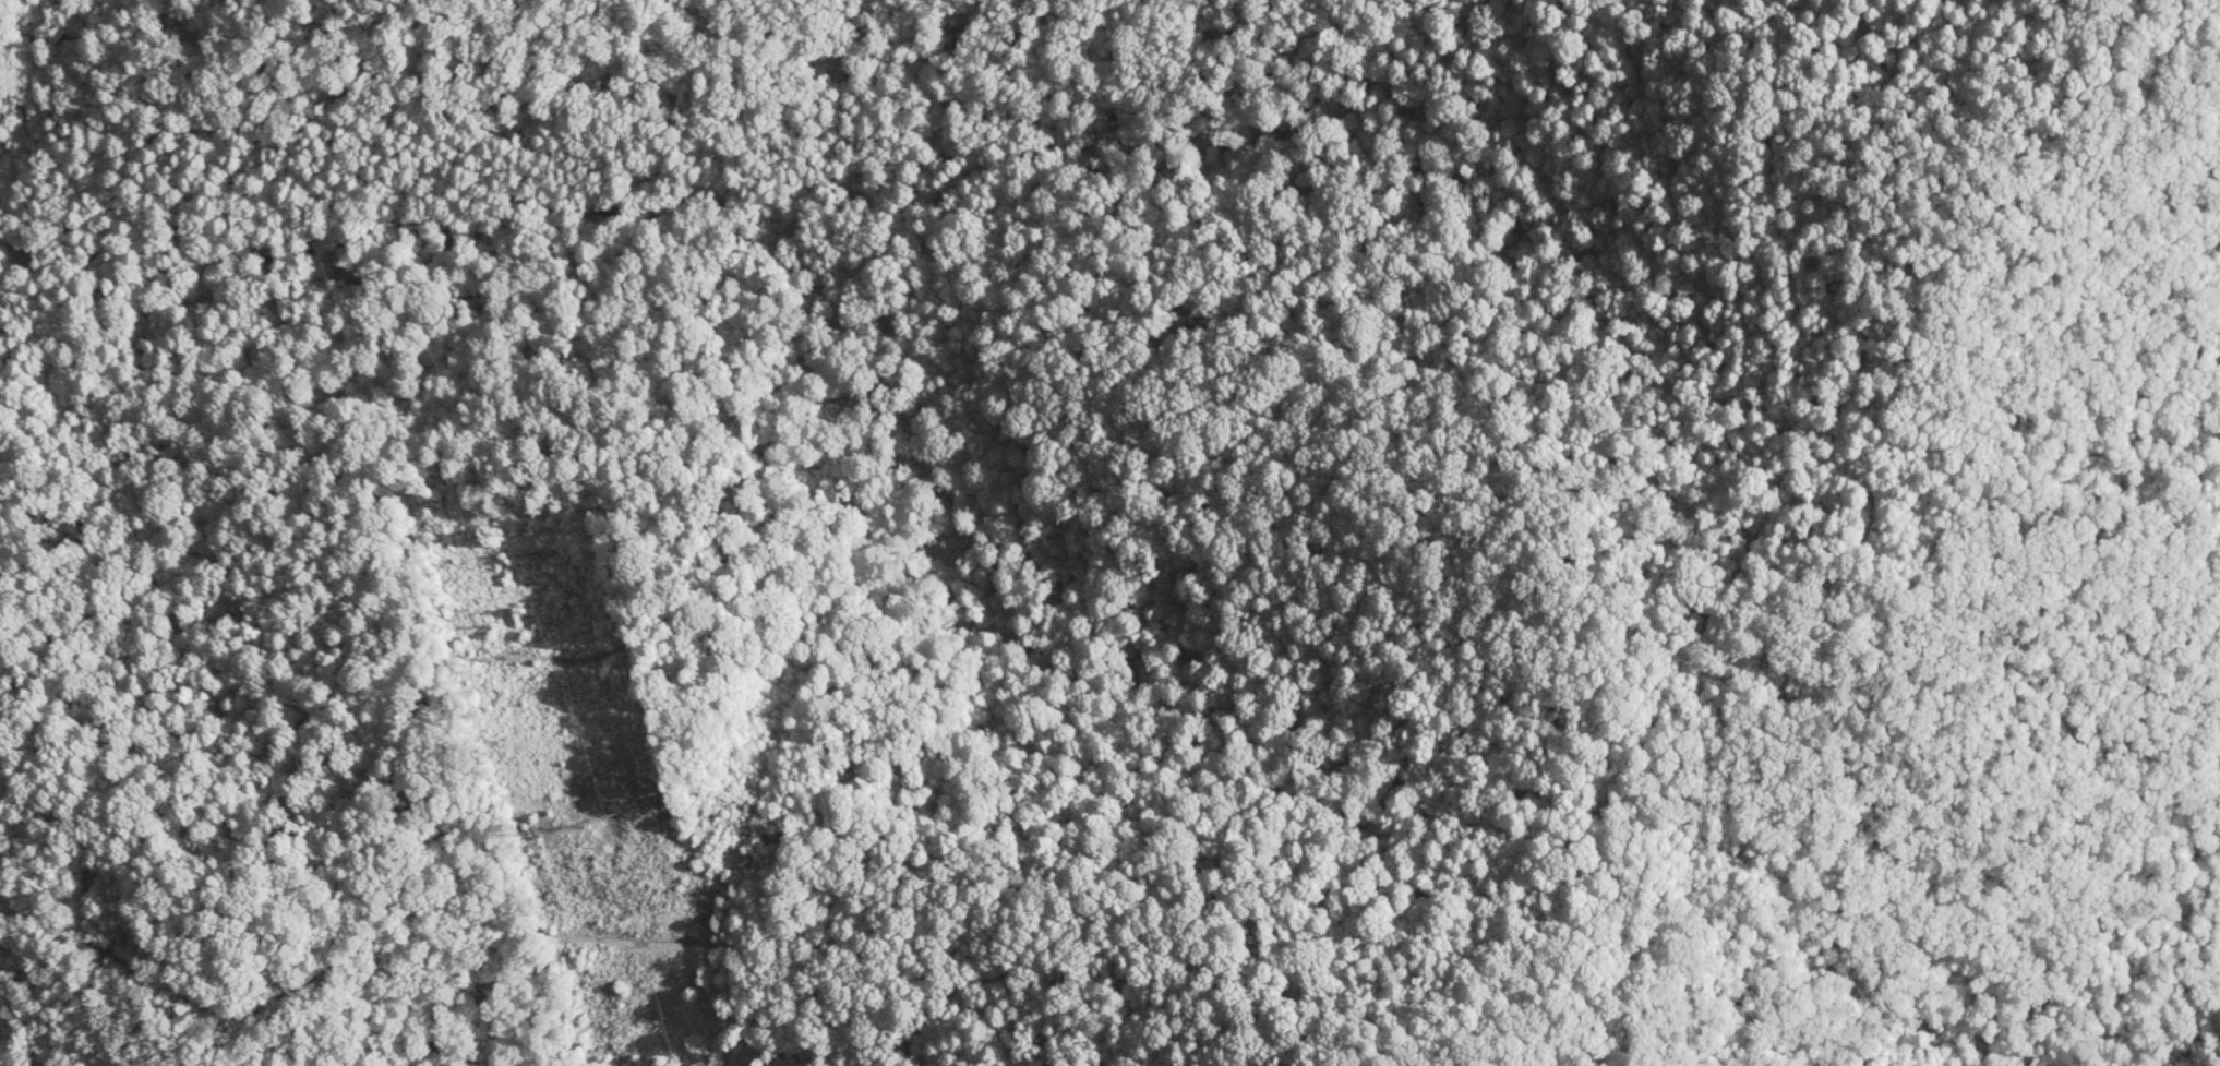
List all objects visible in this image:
power tower: (591, 834)

